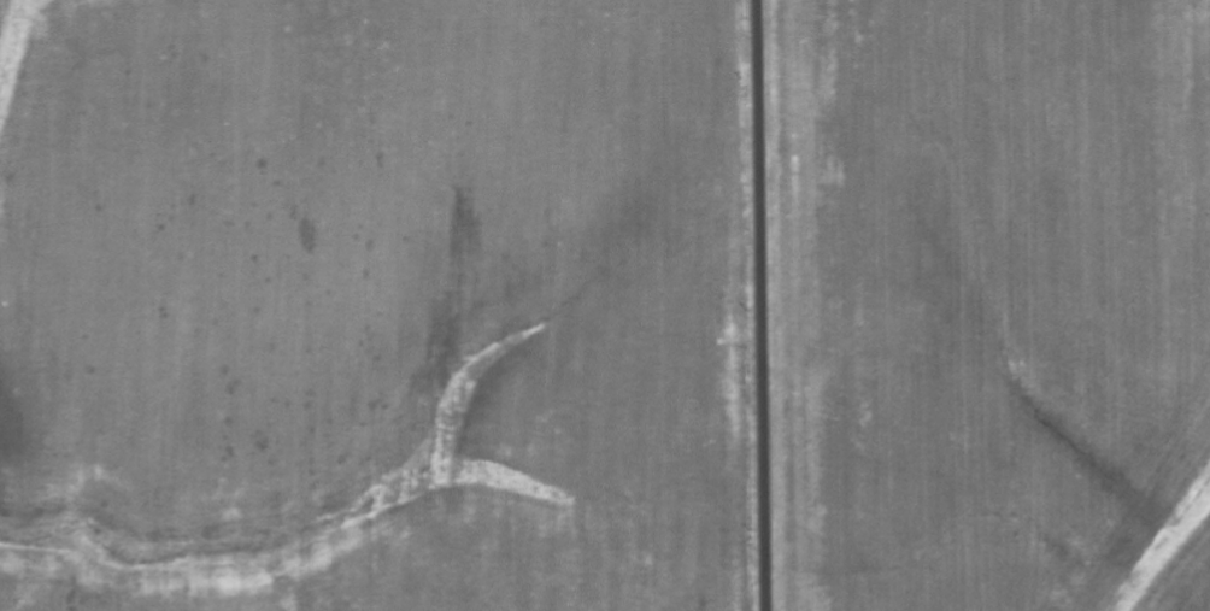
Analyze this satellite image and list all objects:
road: (764, 305)

